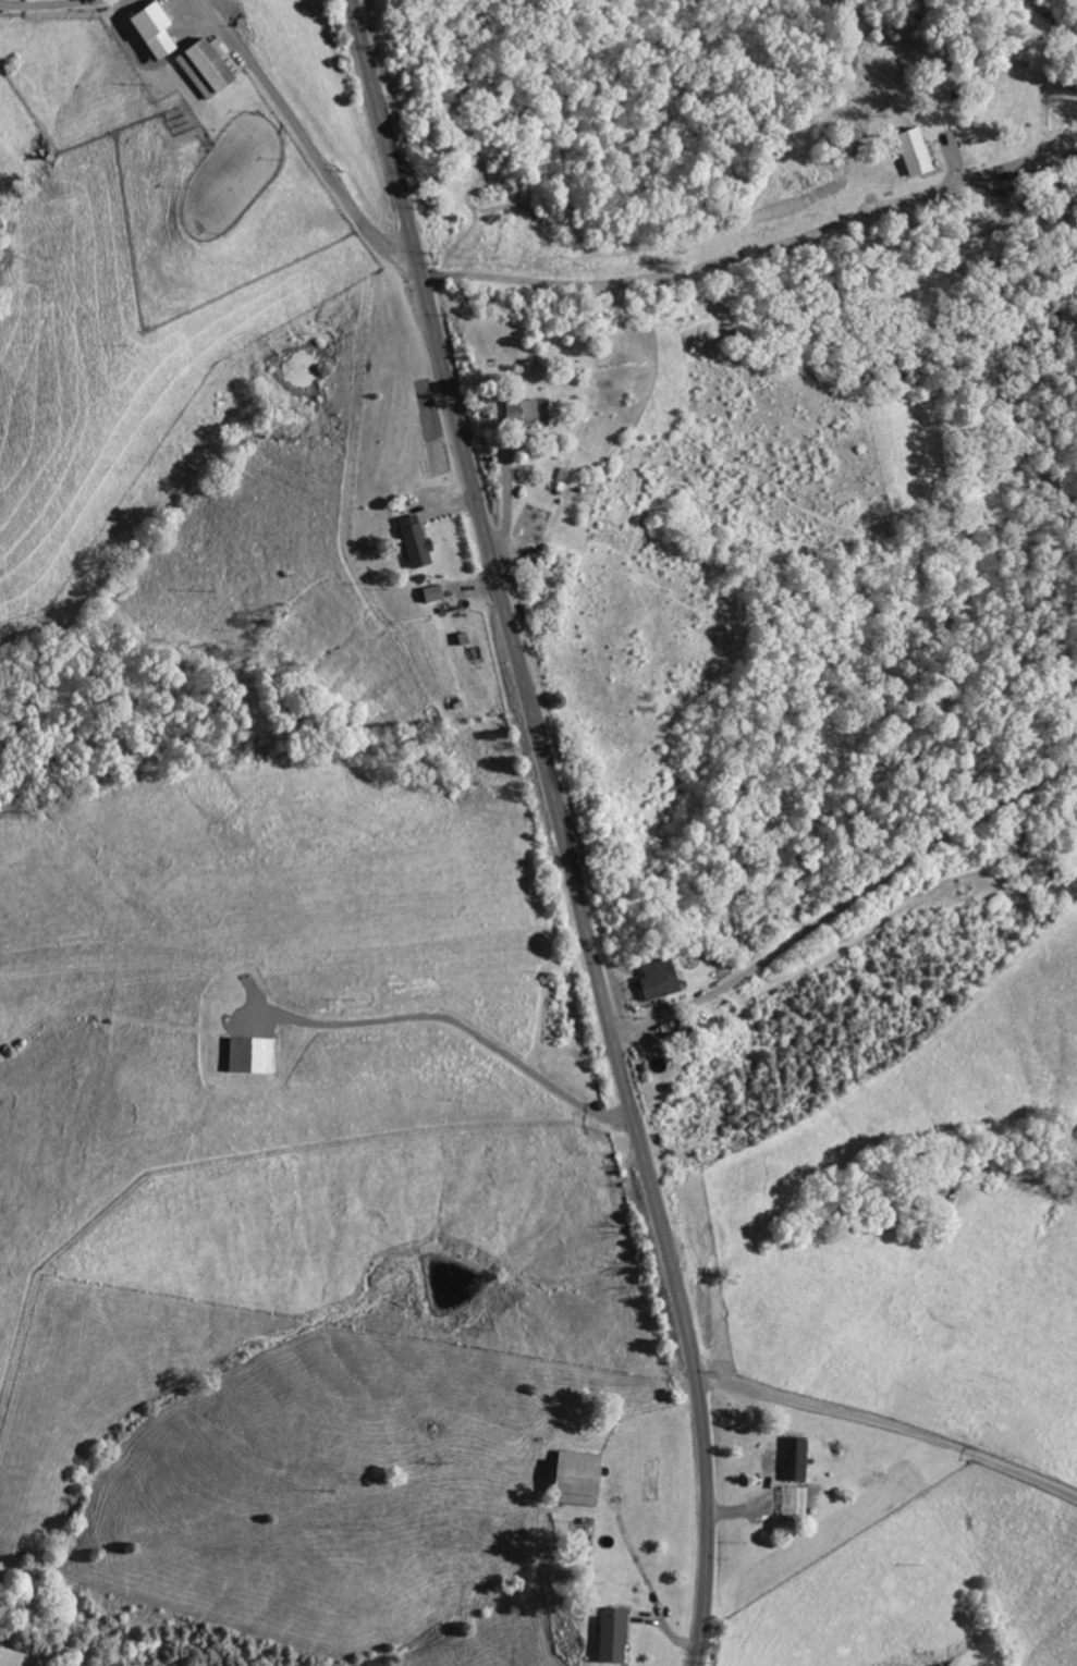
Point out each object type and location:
road: (182, 21)
building: (149, 30)
building: (206, 65)
road: (307, 140)
building: (909, 151)
road: (668, 270)
building: (516, 409)
building: (413, 540)
building: (430, 593)
road: (563, 829)
road: (848, 903)
building: (656, 979)
road: (452, 1020)
building: (247, 1055)
road: (890, 1426)
building: (792, 1459)
building: (572, 1477)
building: (609, 1636)

